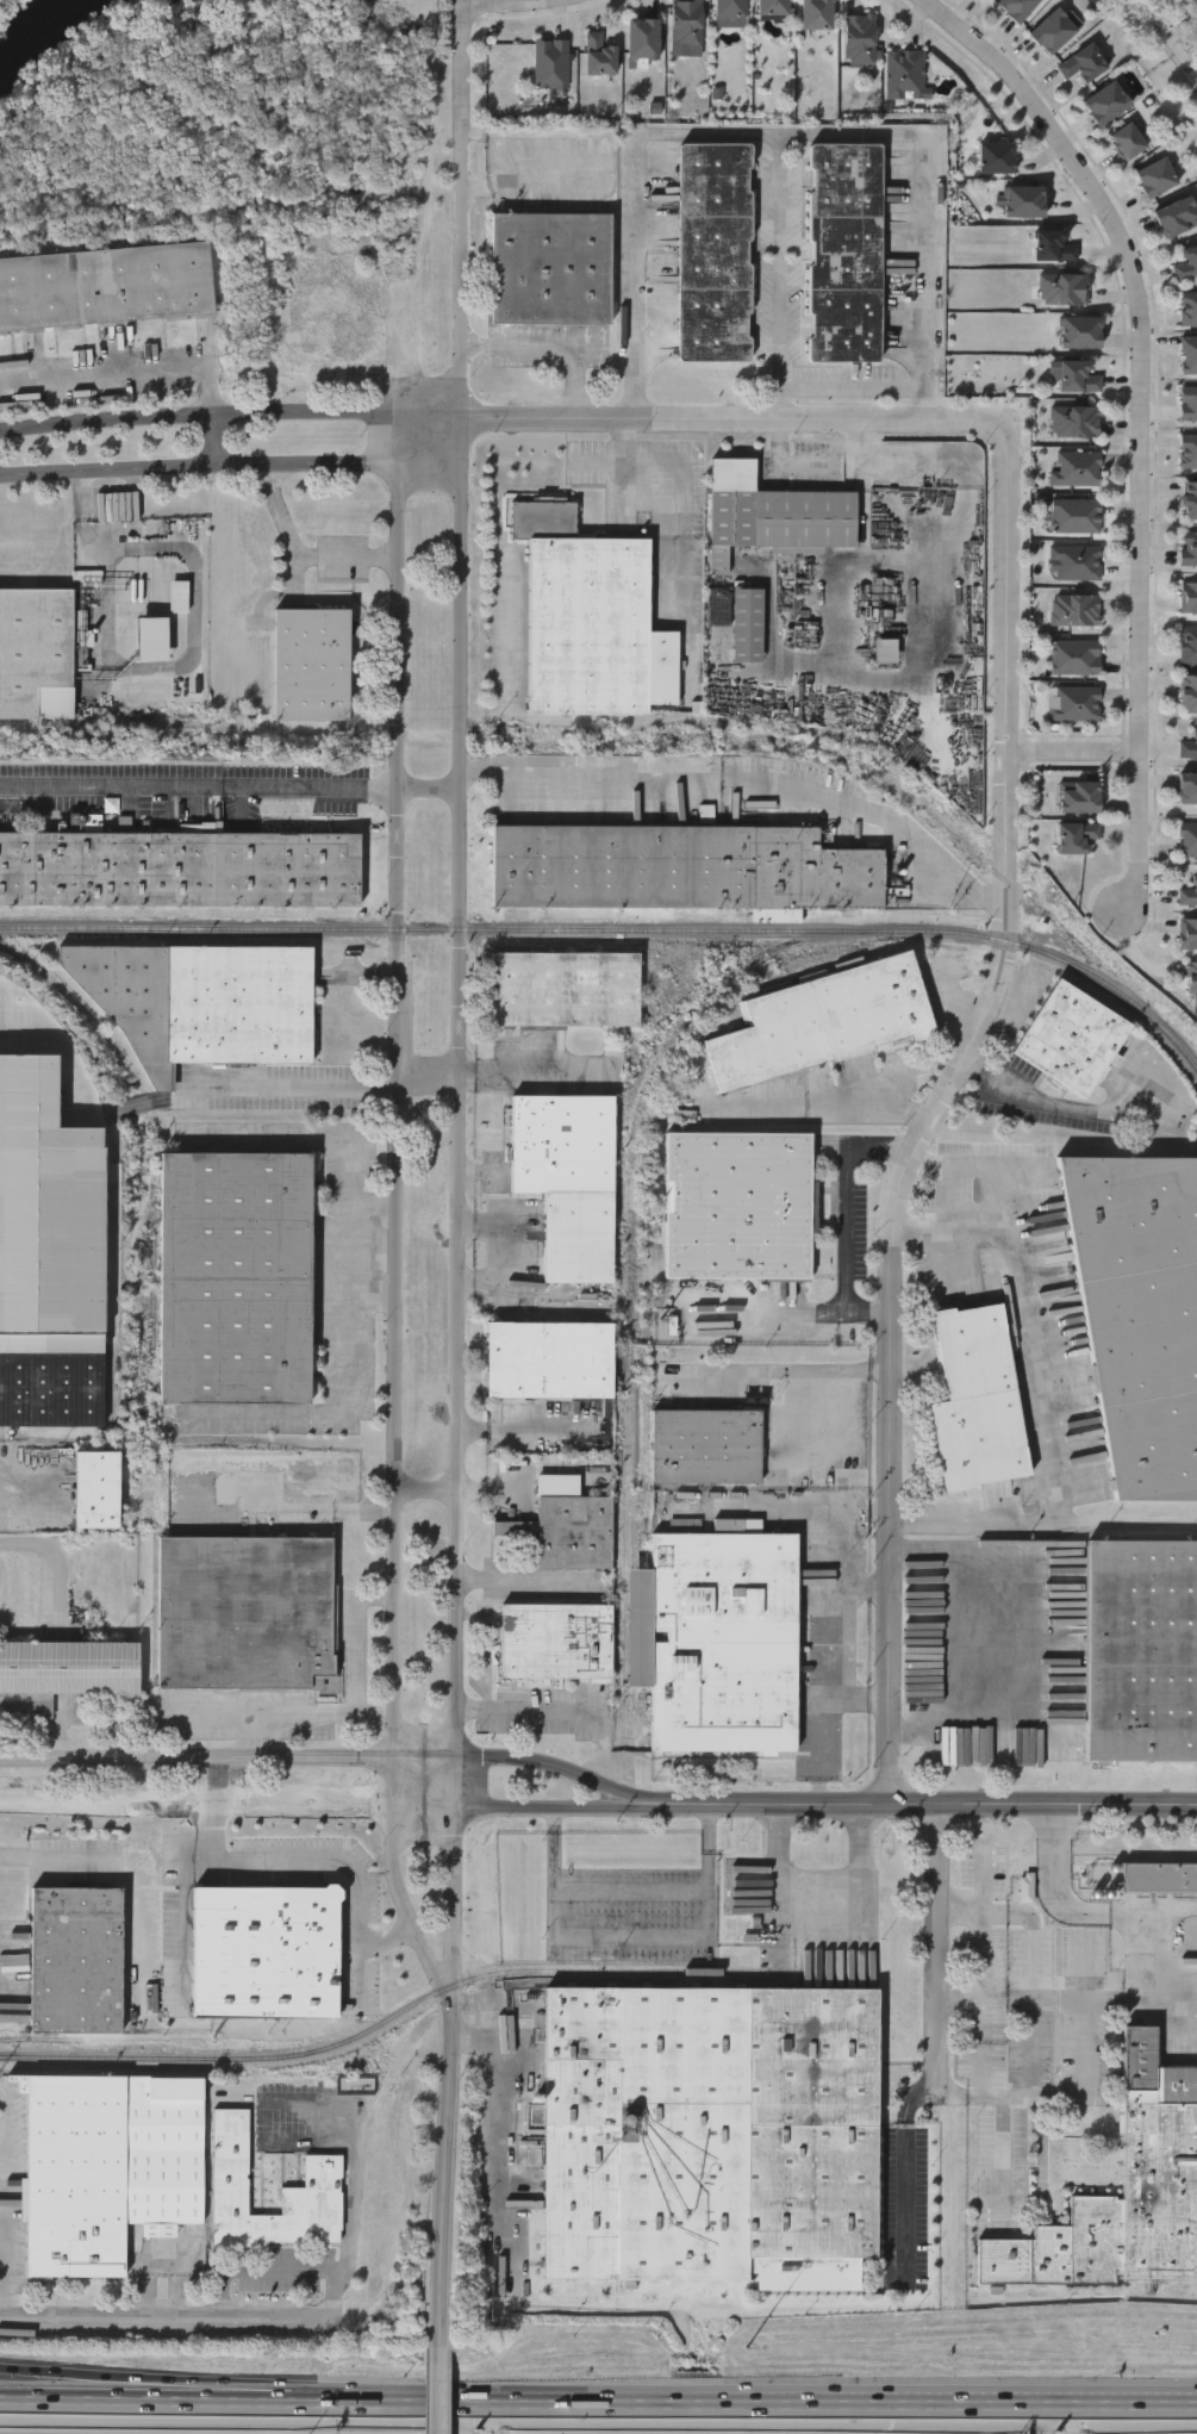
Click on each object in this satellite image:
road: (517, 2)
building: (729, 7)
building: (773, 7)
building: (1016, 7)
building: (816, 14)
building: (686, 23)
building: (1053, 30)
building: (860, 38)
building: (642, 41)
building: (598, 55)
building: (506, 57)
building: (1083, 62)
building: (550, 63)
building: (904, 74)
building: (1106, 101)
road: (779, 135)
building: (1128, 141)
building: (997, 157)
building: (1157, 178)
road: (532, 185)
building: (1024, 200)
road: (462, 206)
building: (1176, 216)
building: (1054, 245)
building: (715, 251)
building: (844, 251)
building: (1186, 263)
building: (551, 268)
road: (779, 276)
building: (106, 285)
building: (1062, 288)
building: (1189, 309)
building: (1080, 331)
road: (549, 348)
building: (1189, 354)
road: (152, 373)
building: (1076, 376)
road: (852, 387)
building: (1187, 404)
road: (230, 413)
road: (1146, 417)
road: (736, 418)
building: (1074, 422)
building: (1187, 450)
road: (821, 460)
road: (230, 466)
building: (1074, 468)
building: (1189, 500)
building: (775, 512)
building: (1074, 516)
road: (688, 525)
building: (1189, 549)
road: (303, 555)
building: (1074, 564)
building: (180, 596)
building: (1187, 597)
building: (1073, 610)
building: (584, 615)
building: (747, 625)
building: (154, 637)
road: (1012, 645)
building: (1187, 646)
building: (37, 653)
building: (1074, 658)
building: (313, 664)
building: (1073, 703)
building: (1187, 746)
road: (1079, 753)
road: (561, 764)
road: (199, 786)
road: (429, 786)
building: (1187, 789)
building: (1078, 798)
road: (844, 803)
building: (1076, 836)
building: (1186, 840)
building: (179, 867)
building: (680, 869)
building: (1189, 894)
road: (999, 904)
road: (1011, 905)
railway: (621, 932)
building: (1187, 933)
road: (1136, 958)
building: (1191, 979)
building: (566, 990)
building: (204, 1000)
building: (824, 1021)
building: (1072, 1038)
road: (429, 1076)
road: (528, 1077)
road: (291, 1087)
road: (1028, 1094)
road: (830, 1100)
road: (980, 1165)
building: (568, 1181)
road: (397, 1195)
road: (461, 1201)
road: (849, 1202)
building: (740, 1207)
building: (236, 1276)
railway: (112, 1290)
railway: (631, 1295)
railway: (152, 1309)
building: (1140, 1313)
road: (797, 1314)
railway: (108, 1319)
road: (892, 1358)
building: (549, 1361)
road: (880, 1368)
road: (784, 1374)
building: (52, 1381)
railway: (643, 1393)
road: (1037, 1399)
building: (977, 1400)
road: (797, 1421)
road: (522, 1428)
building: (706, 1448)
road: (27, 1489)
road: (428, 1489)
road: (495, 1489)
building: (98, 1492)
road: (314, 1502)
road: (861, 1520)
railway: (619, 1527)
building: (566, 1532)
road: (57, 1550)
road: (841, 1556)
road: (530, 1580)
road: (864, 1600)
building: (247, 1614)
road: (354, 1635)
building: (556, 1642)
building: (717, 1642)
road: (1025, 1643)
building: (1140, 1651)
building: (66, 1673)
road: (560, 1711)
road: (301, 1714)
road: (818, 1724)
road: (230, 1758)
road: (559, 1769)
road: (768, 1804)
road: (226, 1807)
road: (553, 1807)
road: (1040, 1807)
road: (862, 1847)
road: (328, 1860)
road: (99, 1865)
building: (1160, 1880)
road: (1053, 1882)
road: (631, 1887)
road: (780, 1888)
road: (1153, 1910)
road: (1011, 1915)
road: (183, 1917)
road: (631, 1942)
road: (942, 1949)
road: (985, 1951)
building: (267, 1953)
building: (77, 1960)
road: (1152, 1977)
road: (1010, 1996)
road: (1092, 1998)
road: (1034, 2022)
railway: (382, 2023)
railway: (37, 2040)
road: (1087, 2072)
road: (495, 2117)
building: (711, 2135)
road: (1005, 2137)
road: (6, 2148)
road: (360, 2166)
road: (447, 2166)
building: (110, 2167)
building: (231, 2172)
road: (906, 2172)
building: (1126, 2193)
road: (1, 2253)
road: (264, 2268)
road: (163, 2312)
road: (138, 2377)
road: (439, 2390)
road: (138, 2392)
road: (736, 2404)

